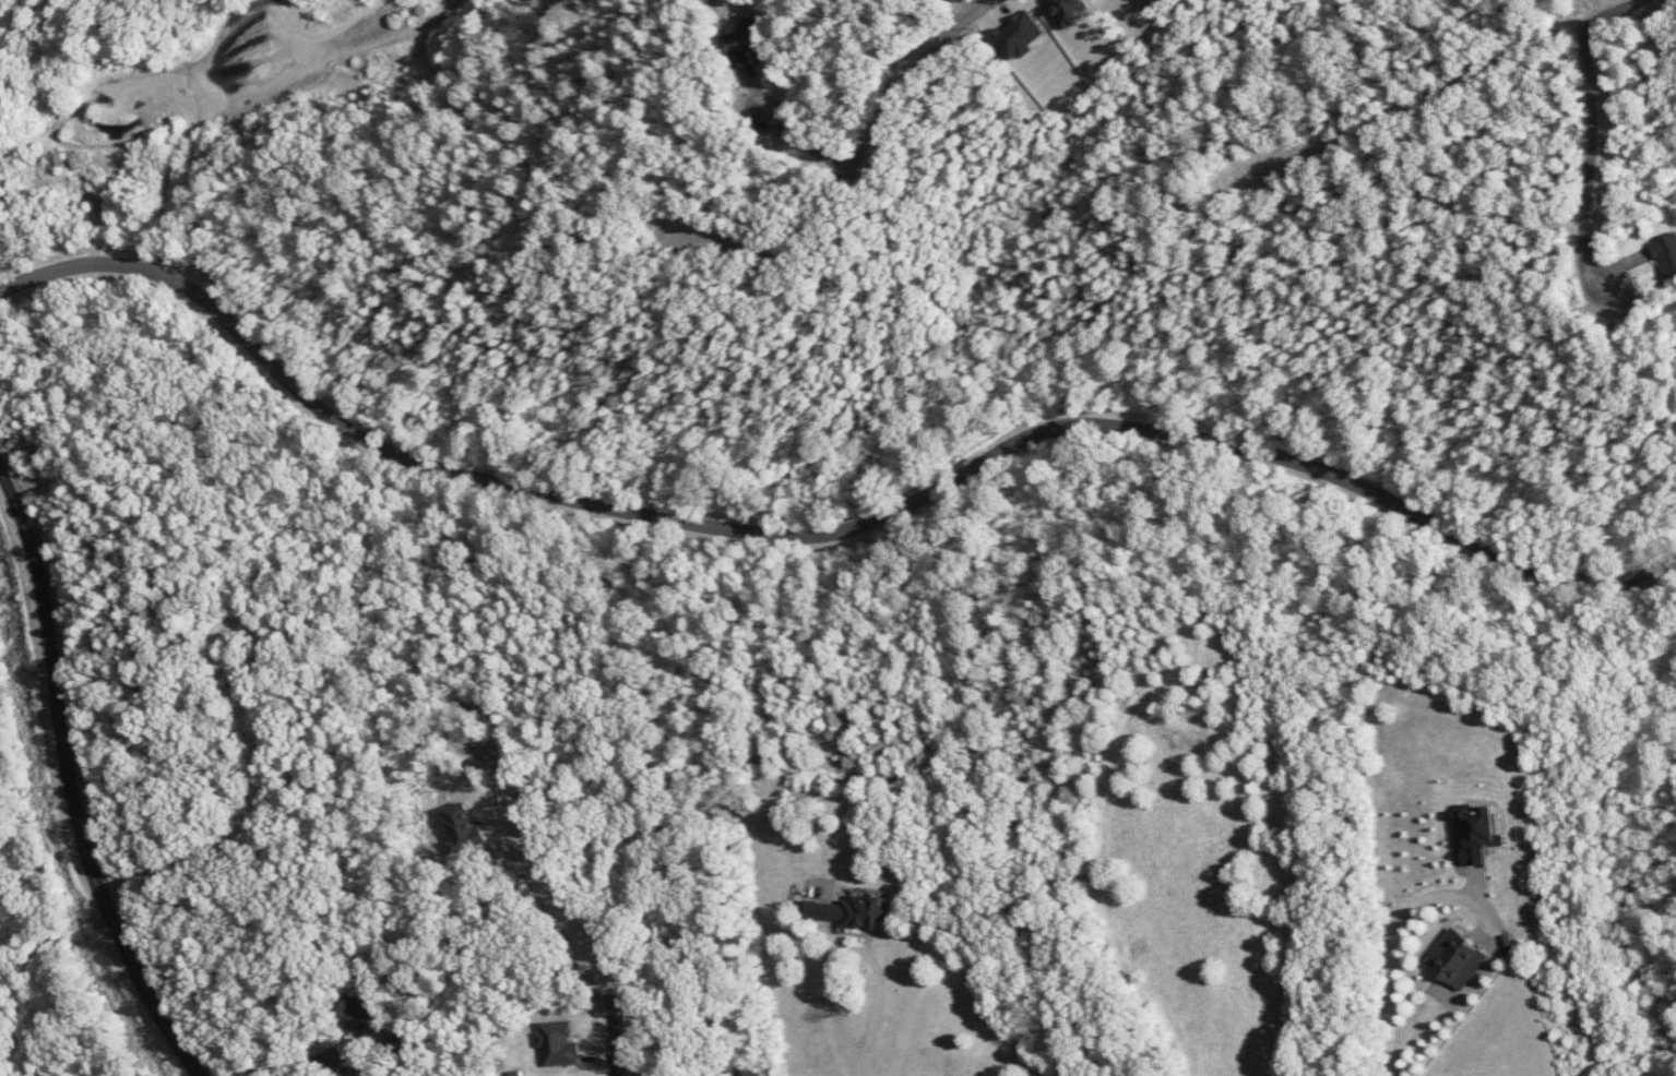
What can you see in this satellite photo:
road: (979, 5)
road: (88, 24)
building: (745, 40)
road: (1446, 95)
road: (813, 146)
road: (853, 184)
road: (1558, 223)
building: (1666, 255)
road: (1596, 261)
road: (24, 466)
road: (825, 536)
road: (425, 594)
road: (69, 780)
road: (249, 816)
building: (460, 830)
building: (1479, 837)
road: (557, 885)
building: (849, 911)
road: (1388, 946)
road: (849, 952)
building: (1454, 958)
building: (354, 1013)
building: (557, 1044)
road: (331, 1062)
road: (855, 1075)

